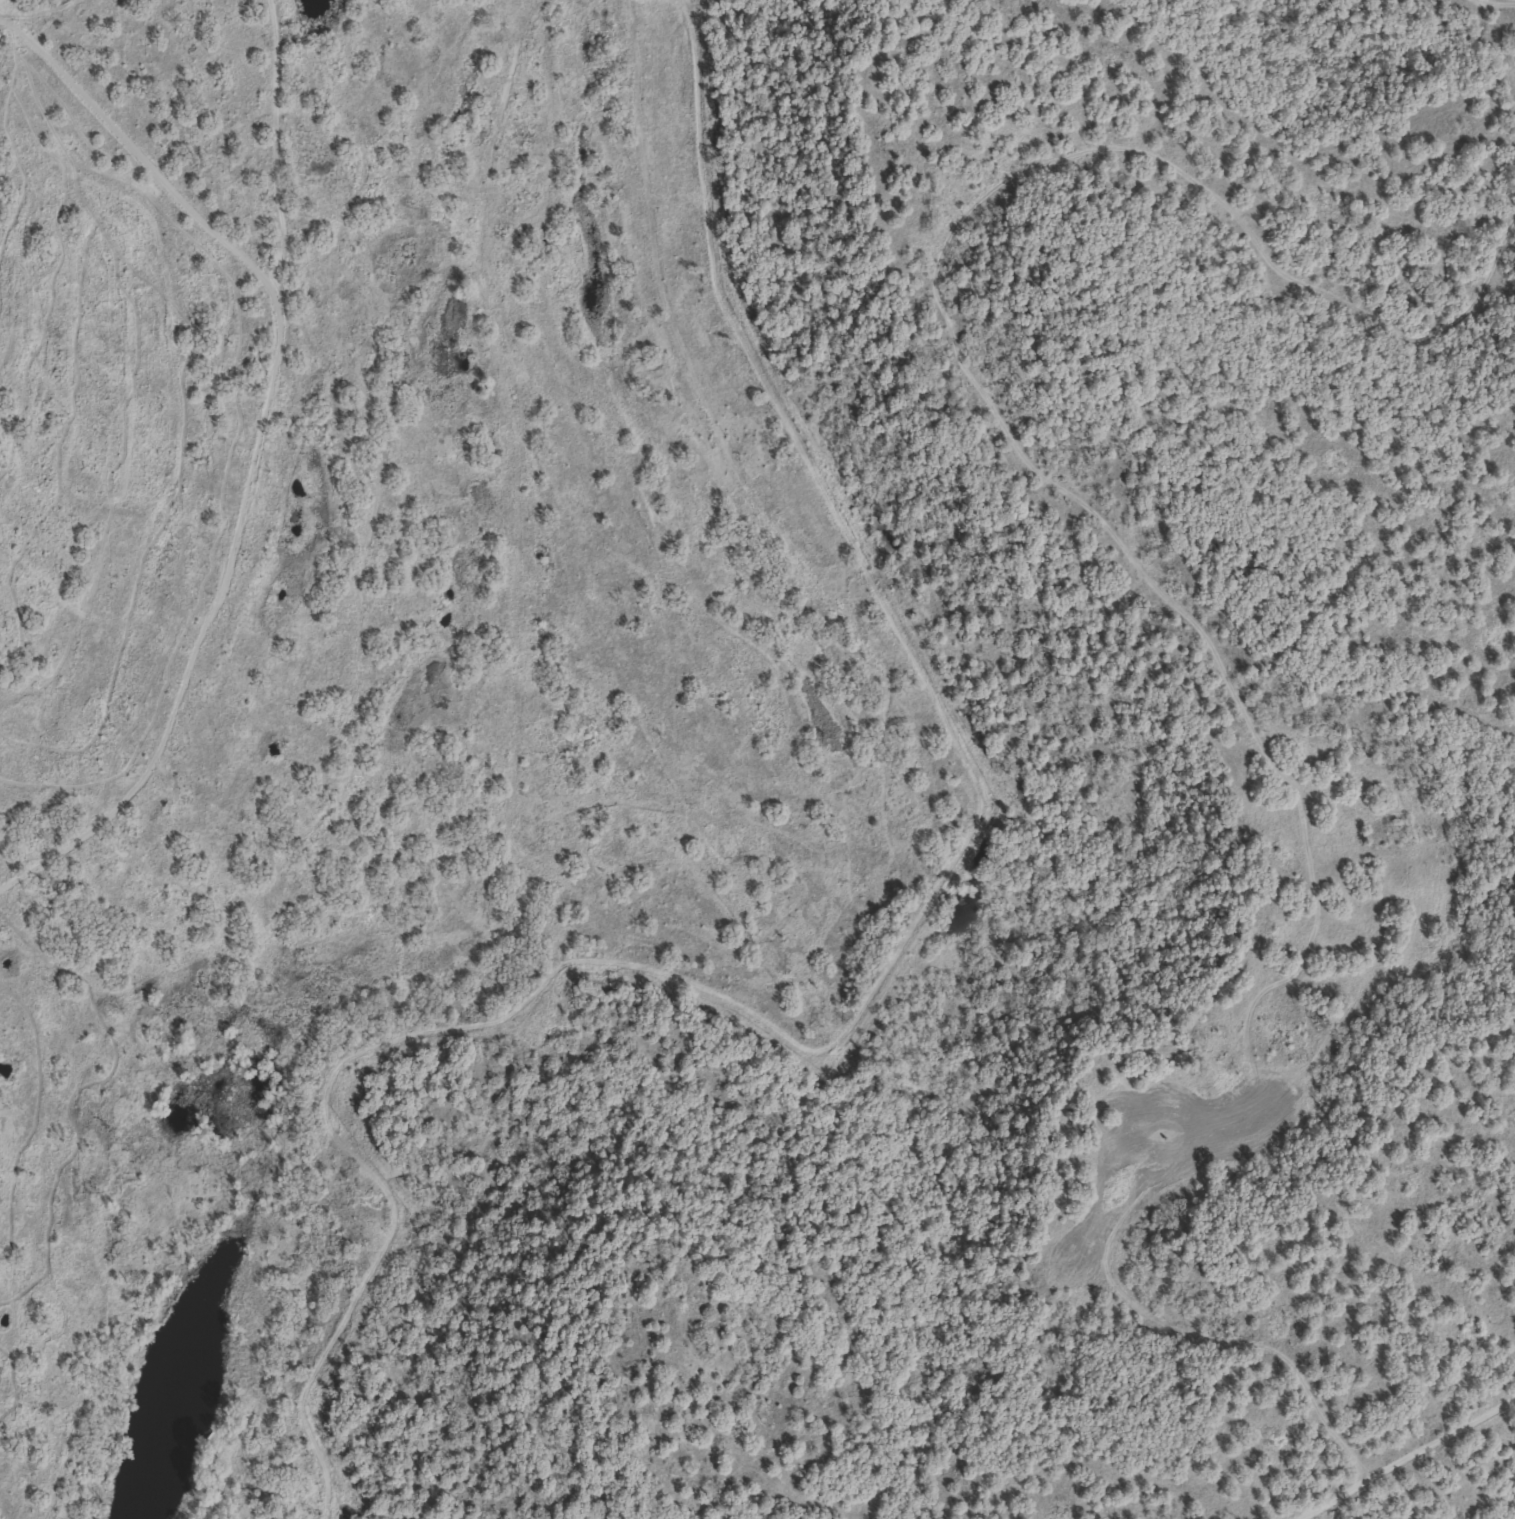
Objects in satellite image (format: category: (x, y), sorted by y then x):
road: (1406, 1462)

